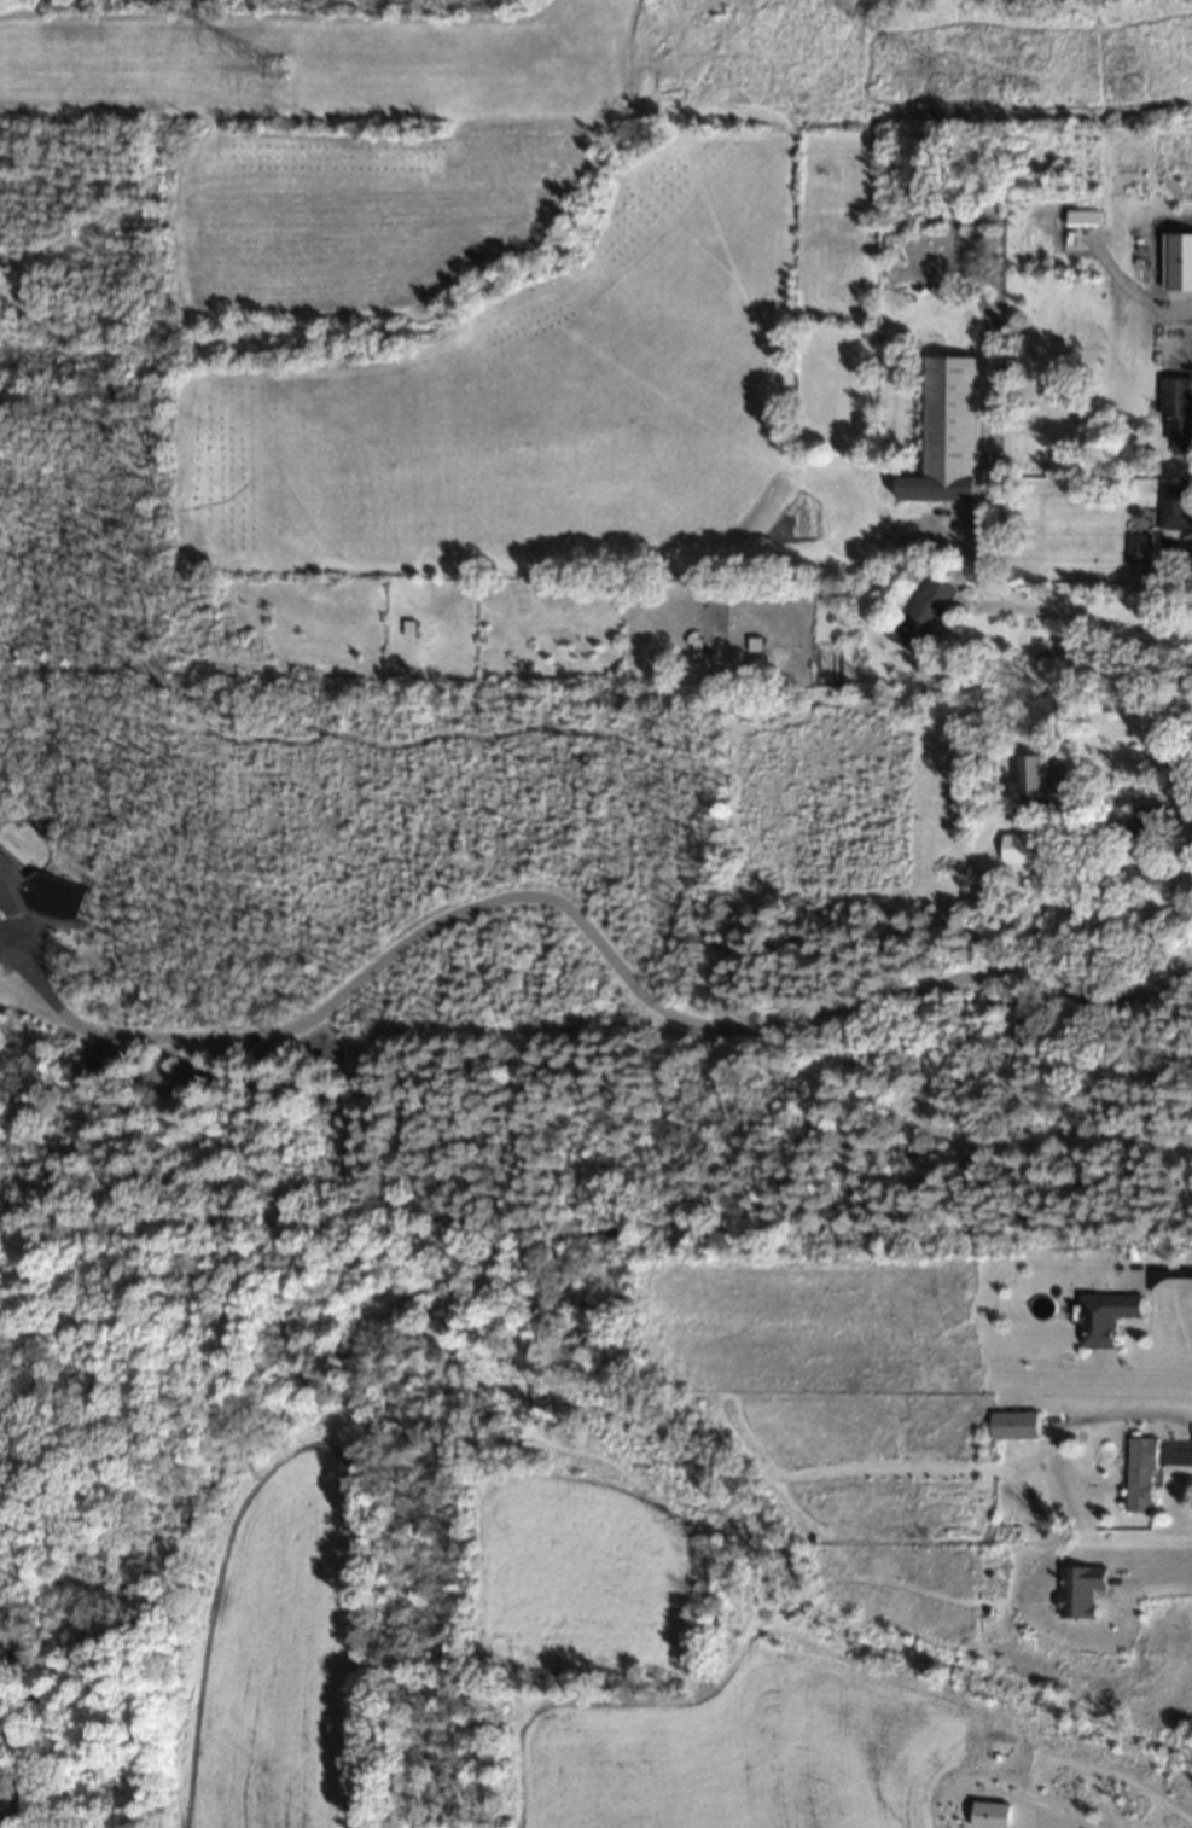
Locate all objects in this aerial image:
power tower: (264, 83)
power tower: (936, 87)
building: (1083, 219)
building: (884, 239)
building: (1176, 263)
building: (1178, 411)
building: (949, 433)
building: (1175, 508)
building: (1140, 549)
building: (924, 615)
road: (1052, 618)
building: (1035, 776)
building: (1147, 822)
building: (1017, 849)
building: (37, 896)
road: (591, 939)
road: (1159, 1279)
building: (1105, 1317)
building: (1016, 1426)
building: (1141, 1475)
road: (1153, 1579)
building: (1082, 1593)
crop: (537, 1670)
building: (8, 1809)
building: (992, 1815)

